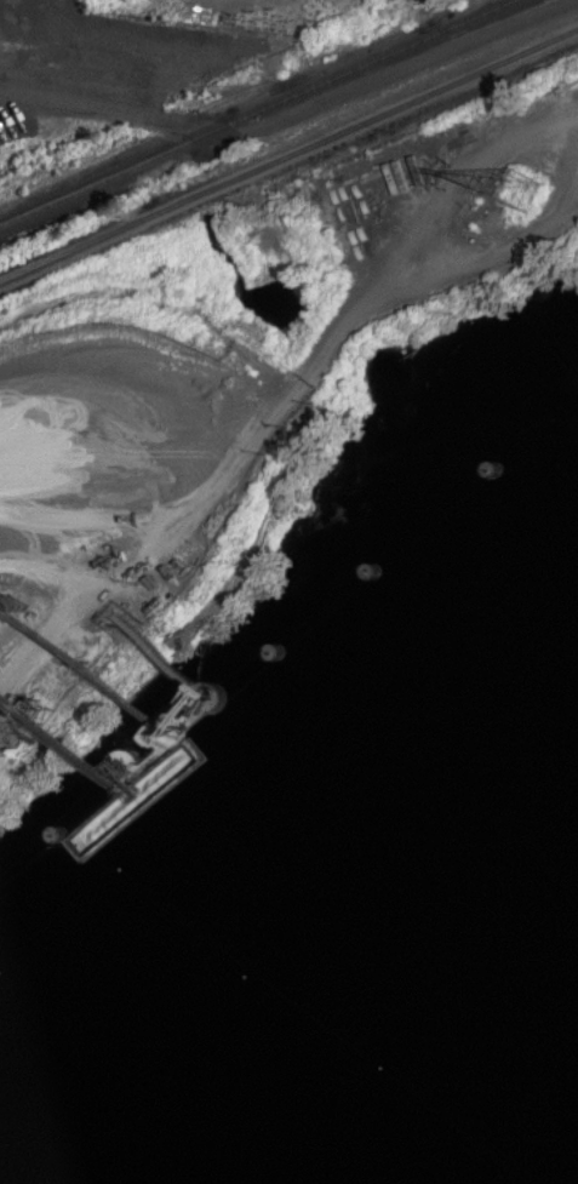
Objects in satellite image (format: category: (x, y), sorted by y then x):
railway: (240, 102)
road: (293, 116)
railway: (288, 147)
power tower: (519, 183)
road: (290, 393)
power plant: (154, 444)
river: (454, 1092)

